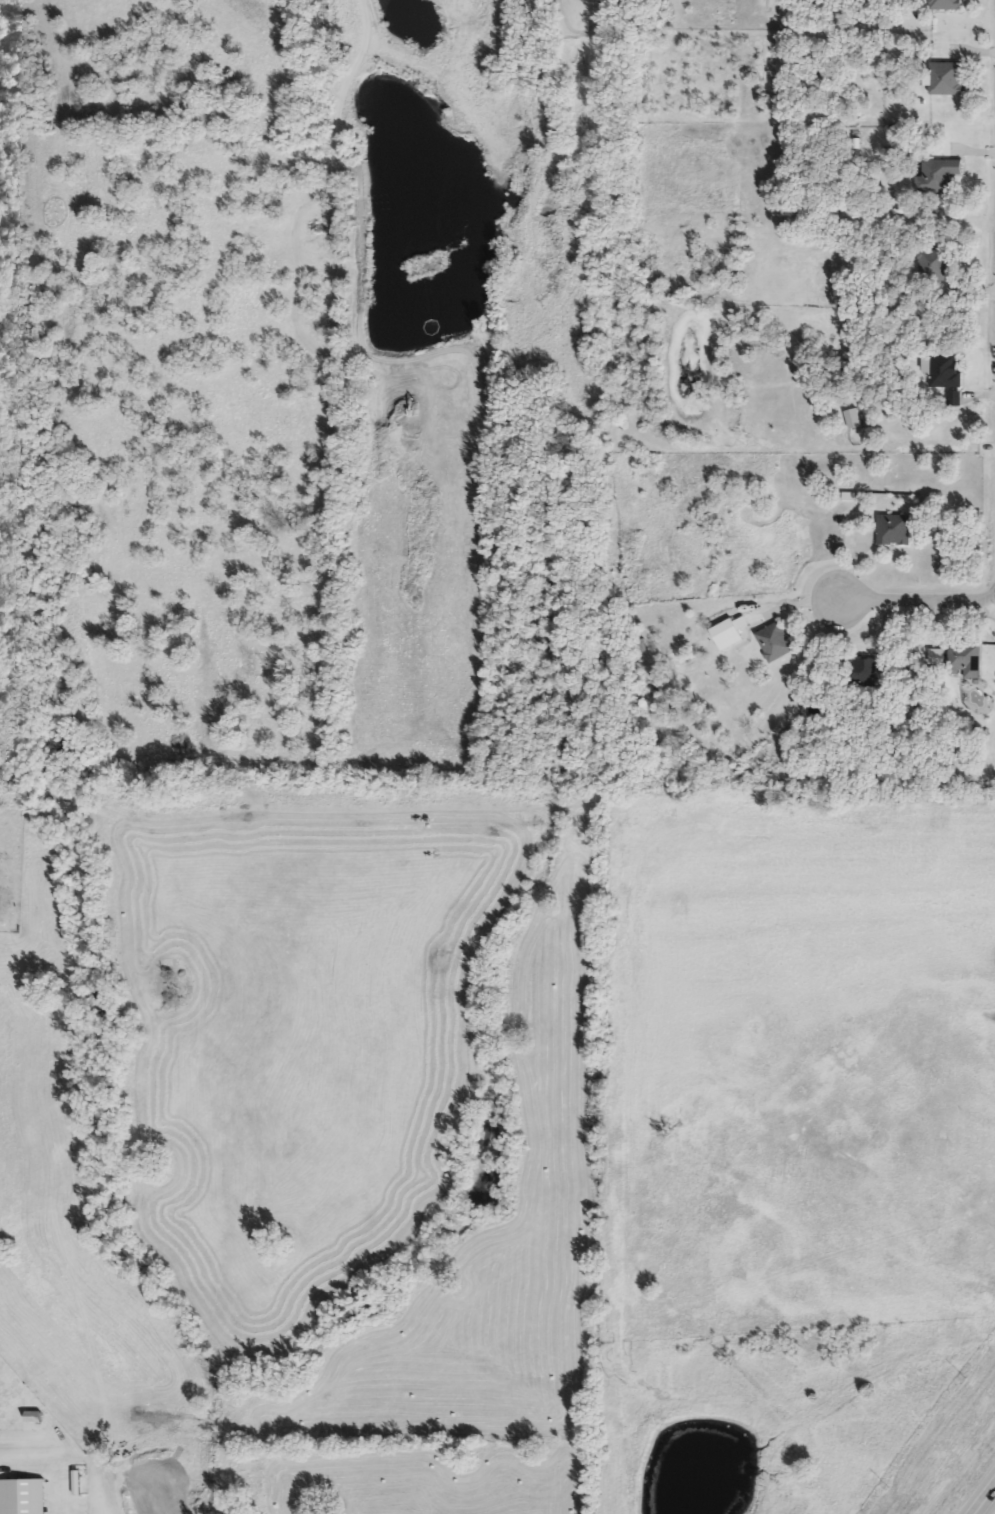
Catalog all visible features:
building: (948, 5)
building: (947, 80)
building: (940, 176)
building: (937, 266)
building: (946, 372)
building: (955, 400)
building: (895, 531)
road: (994, 591)
road: (919, 599)
building: (777, 642)
building: (966, 661)
building: (861, 674)
road: (17, 1463)
building: (24, 1497)
road: (986, 1502)

